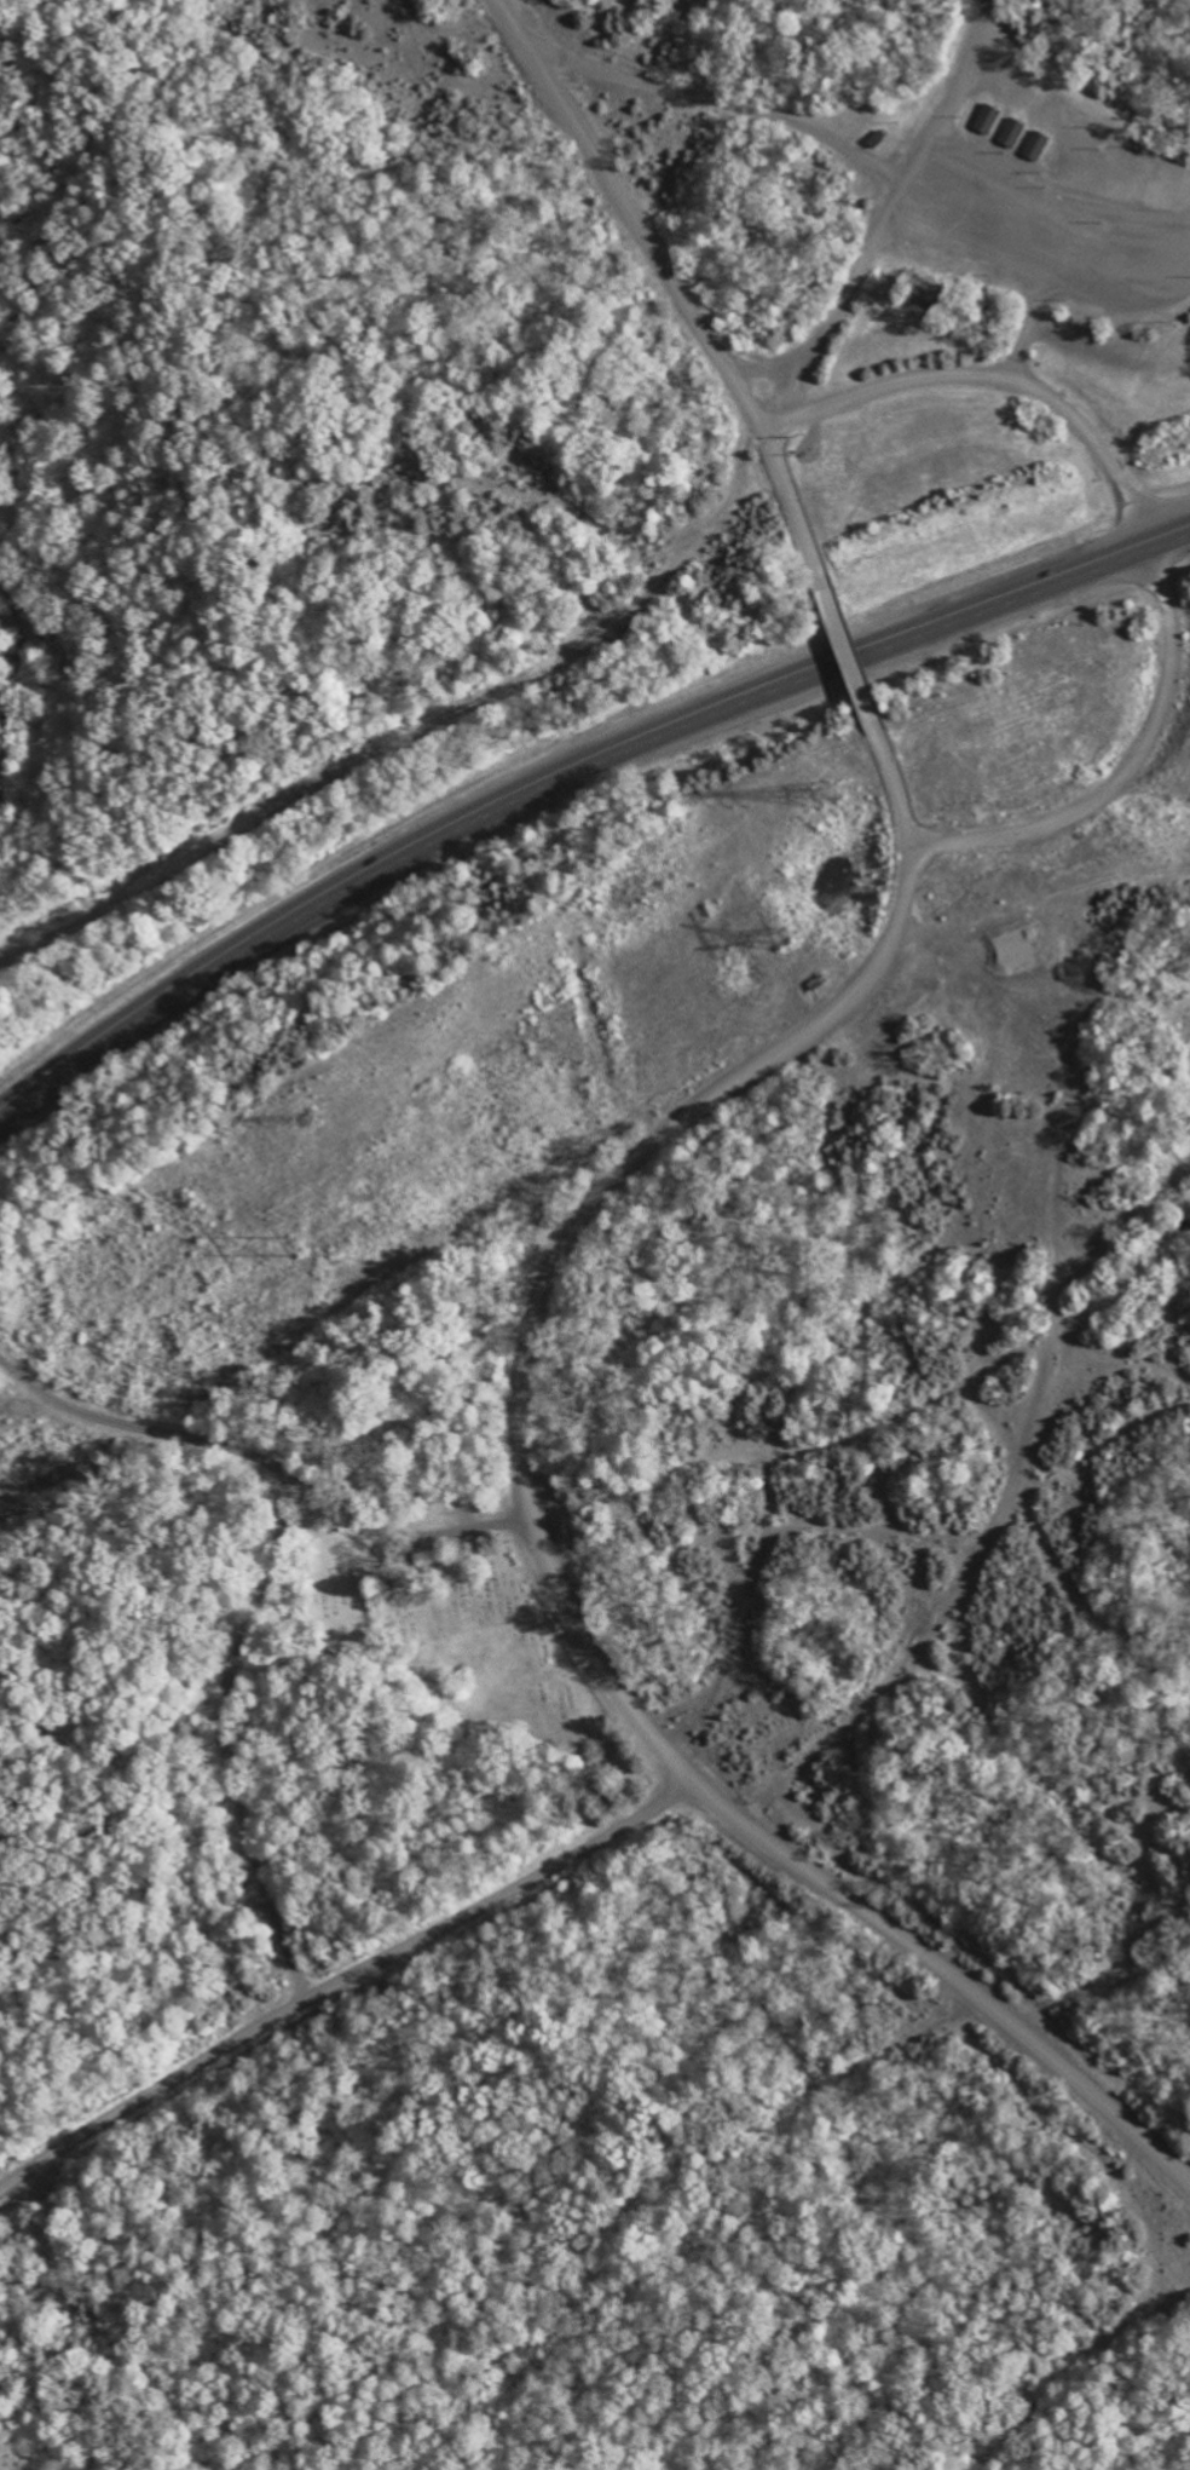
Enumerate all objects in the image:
road: (711, 98)
road: (1078, 126)
building: (1015, 132)
building: (1039, 145)
road: (876, 231)
road: (1027, 241)
road: (1109, 255)
road: (675, 287)
road: (1149, 542)
road: (850, 655)
road: (568, 767)
power tower: (831, 793)
power tower: (780, 935)
power tower: (311, 1117)
power tower: (290, 1243)
road: (265, 1459)
road: (533, 1512)
park: (553, 1679)
road: (227, 1740)
road: (343, 1979)

